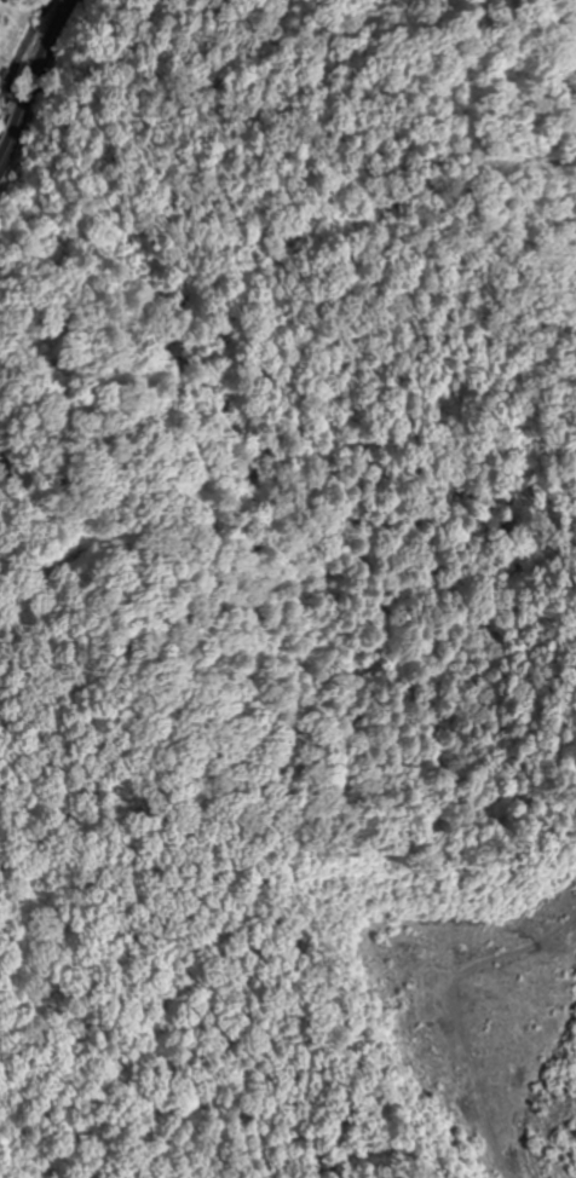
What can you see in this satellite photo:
road: (39, 83)

